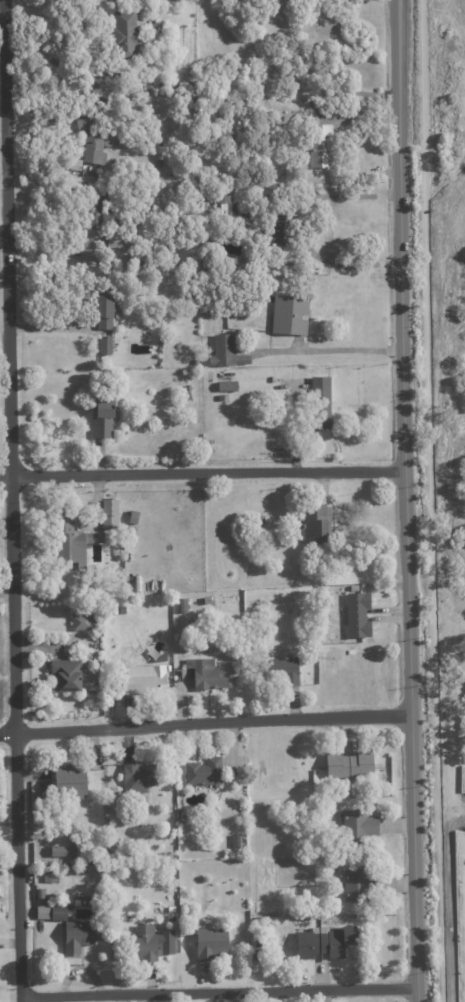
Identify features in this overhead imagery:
building: (128, 35)
road: (43, 45)
building: (138, 79)
building: (104, 96)
building: (92, 135)
building: (110, 137)
building: (228, 139)
building: (322, 144)
building: (76, 164)
building: (214, 191)
building: (226, 204)
building: (281, 228)
road: (300, 230)
building: (100, 237)
building: (140, 260)
building: (236, 264)
building: (193, 305)
building: (108, 307)
building: (293, 313)
road: (331, 341)
building: (106, 345)
building: (227, 352)
building: (196, 362)
building: (274, 379)
building: (228, 385)
building: (187, 397)
building: (322, 400)
building: (104, 416)
road: (202, 465)
road: (407, 500)
road: (13, 501)
road: (432, 501)
building: (111, 514)
building: (134, 517)
building: (261, 520)
building: (315, 524)
building: (133, 529)
building: (74, 541)
building: (209, 602)
building: (183, 605)
building: (114, 610)
building: (358, 614)
building: (82, 623)
building: (98, 635)
building: (234, 658)
building: (235, 664)
building: (286, 669)
building: (208, 675)
building: (67, 676)
building: (143, 680)
road: (206, 716)
building: (350, 764)
building: (205, 771)
building: (237, 773)
building: (256, 773)
building: (140, 776)
building: (70, 782)
building: (239, 784)
building: (117, 803)
building: (359, 827)
building: (235, 840)
building: (349, 852)
building: (112, 866)
building: (49, 877)
building: (360, 884)
building: (39, 893)
building: (59, 912)
building: (172, 918)
building: (78, 936)
building: (326, 941)
building: (212, 943)
building: (144, 944)
building: (260, 952)
road: (222, 984)

